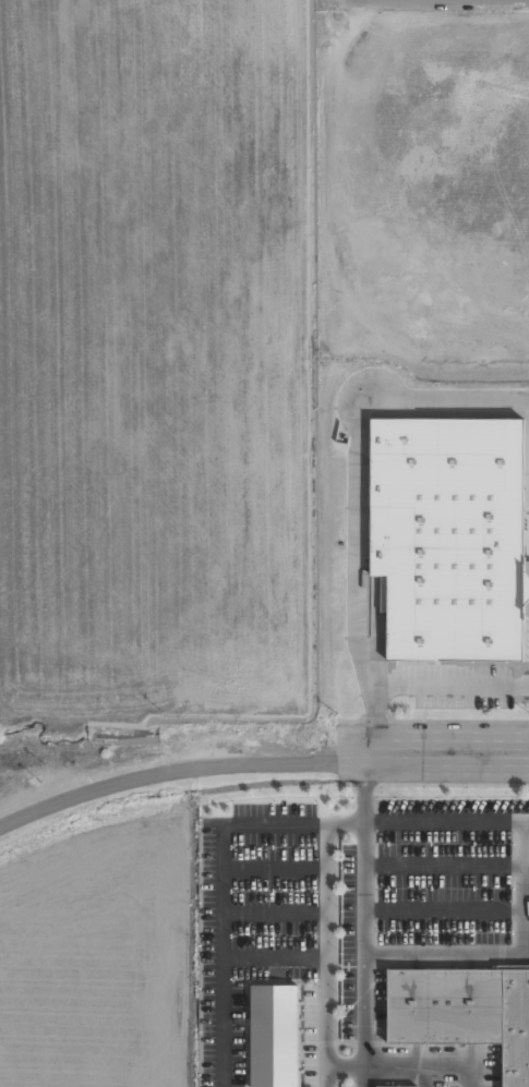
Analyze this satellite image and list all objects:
road: (357, 492)
building: (442, 535)
road: (434, 750)
road: (167, 772)
road: (444, 821)
road: (346, 822)
road: (444, 863)
road: (274, 867)
road: (220, 901)
road: (444, 908)
road: (274, 911)
road: (327, 954)
road: (410, 957)
road: (274, 958)
building: (461, 1014)
road: (362, 1022)
building: (268, 1036)
road: (431, 1061)
road: (345, 1063)
building: (390, 1086)

